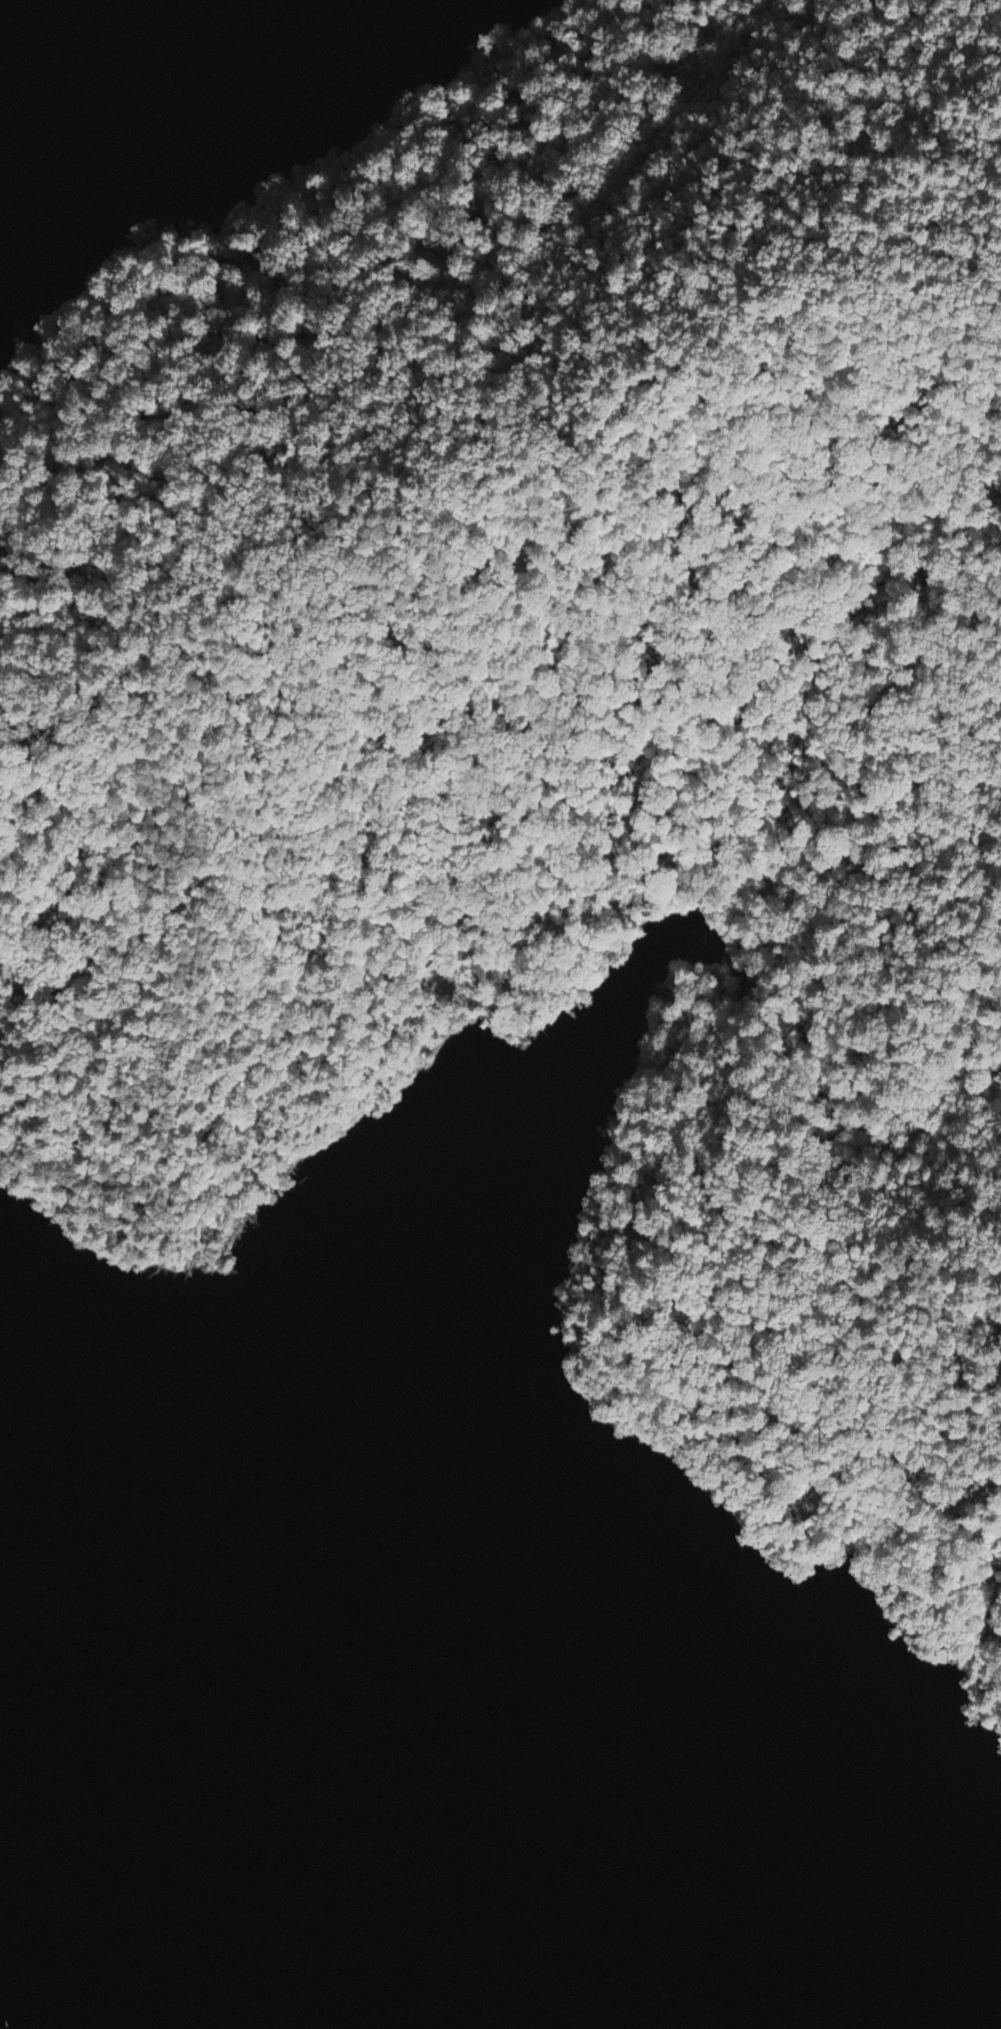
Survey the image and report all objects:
road: (599, 721)

